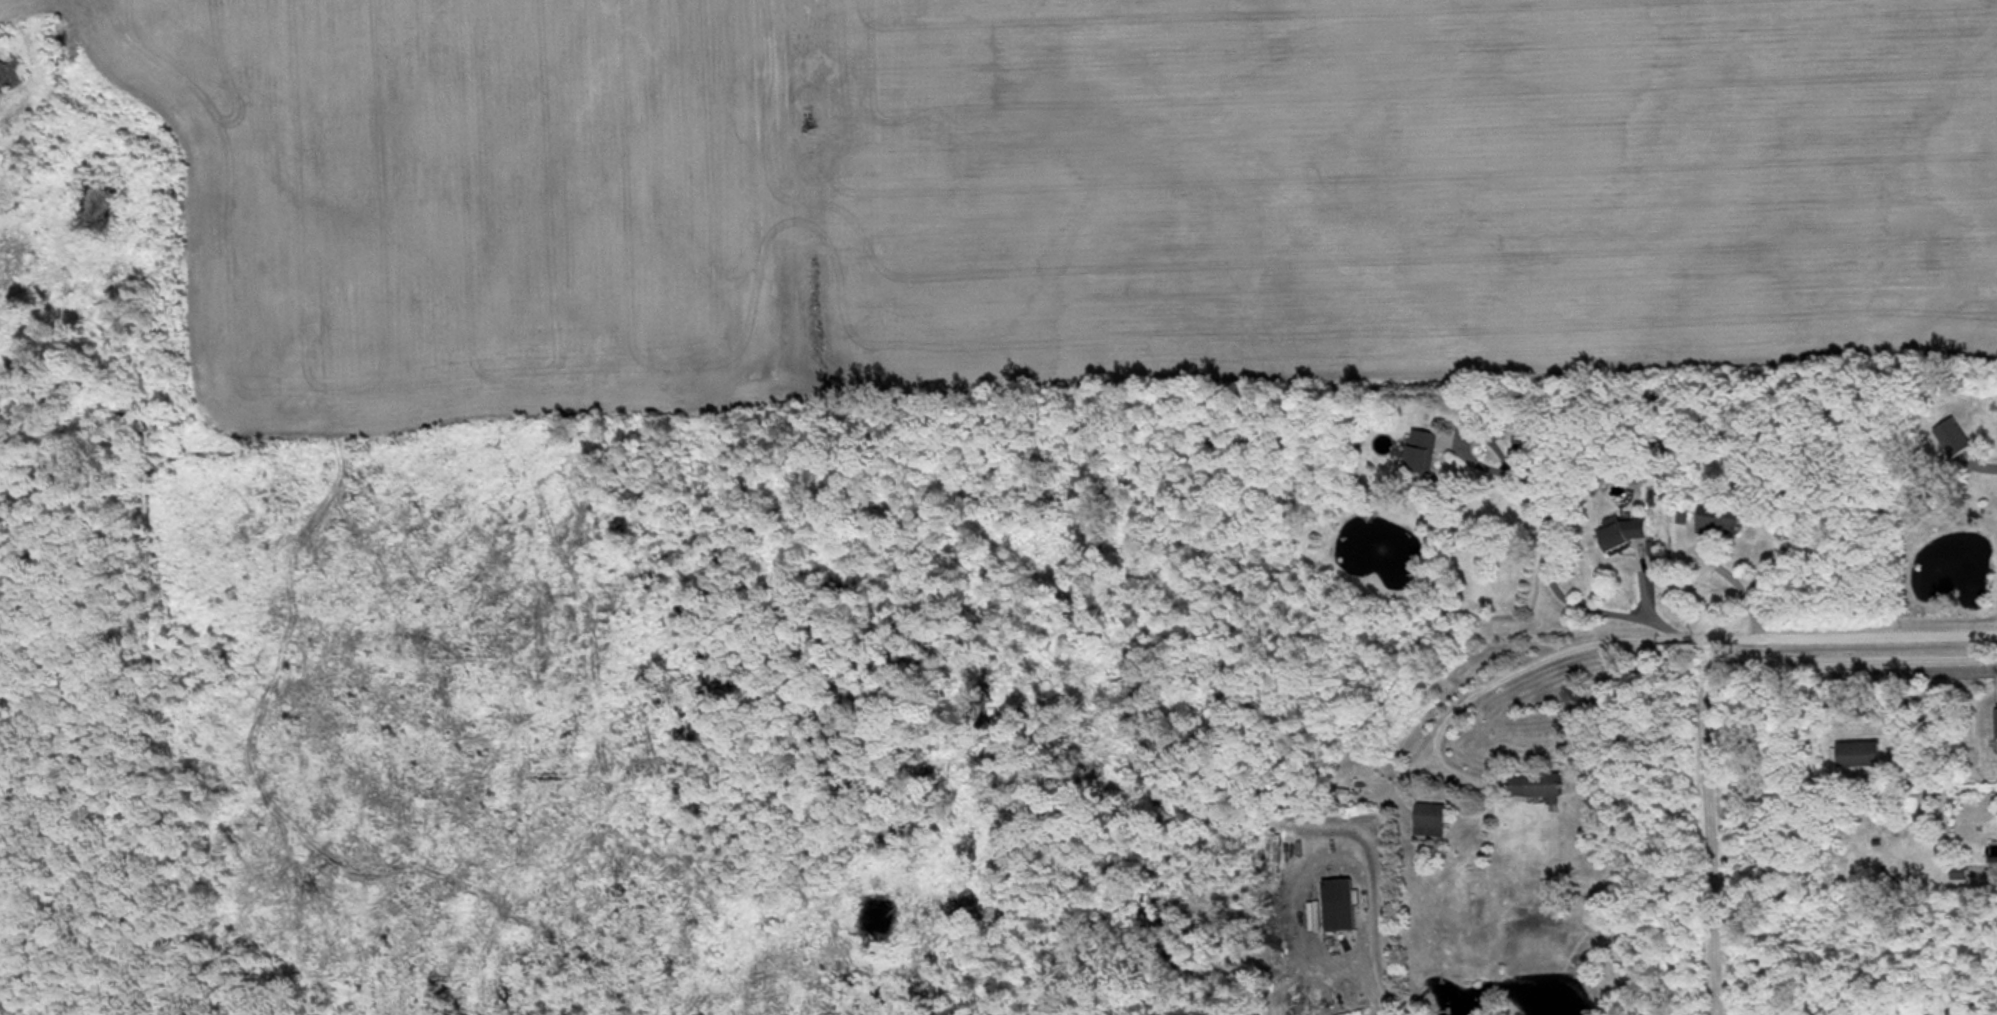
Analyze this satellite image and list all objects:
building: (1534, 445)
building: (1425, 455)
building: (1723, 525)
building: (1626, 535)
building: (1862, 758)
building: (1540, 789)
building: (1432, 823)
building: (1277, 851)
building: (1342, 908)

